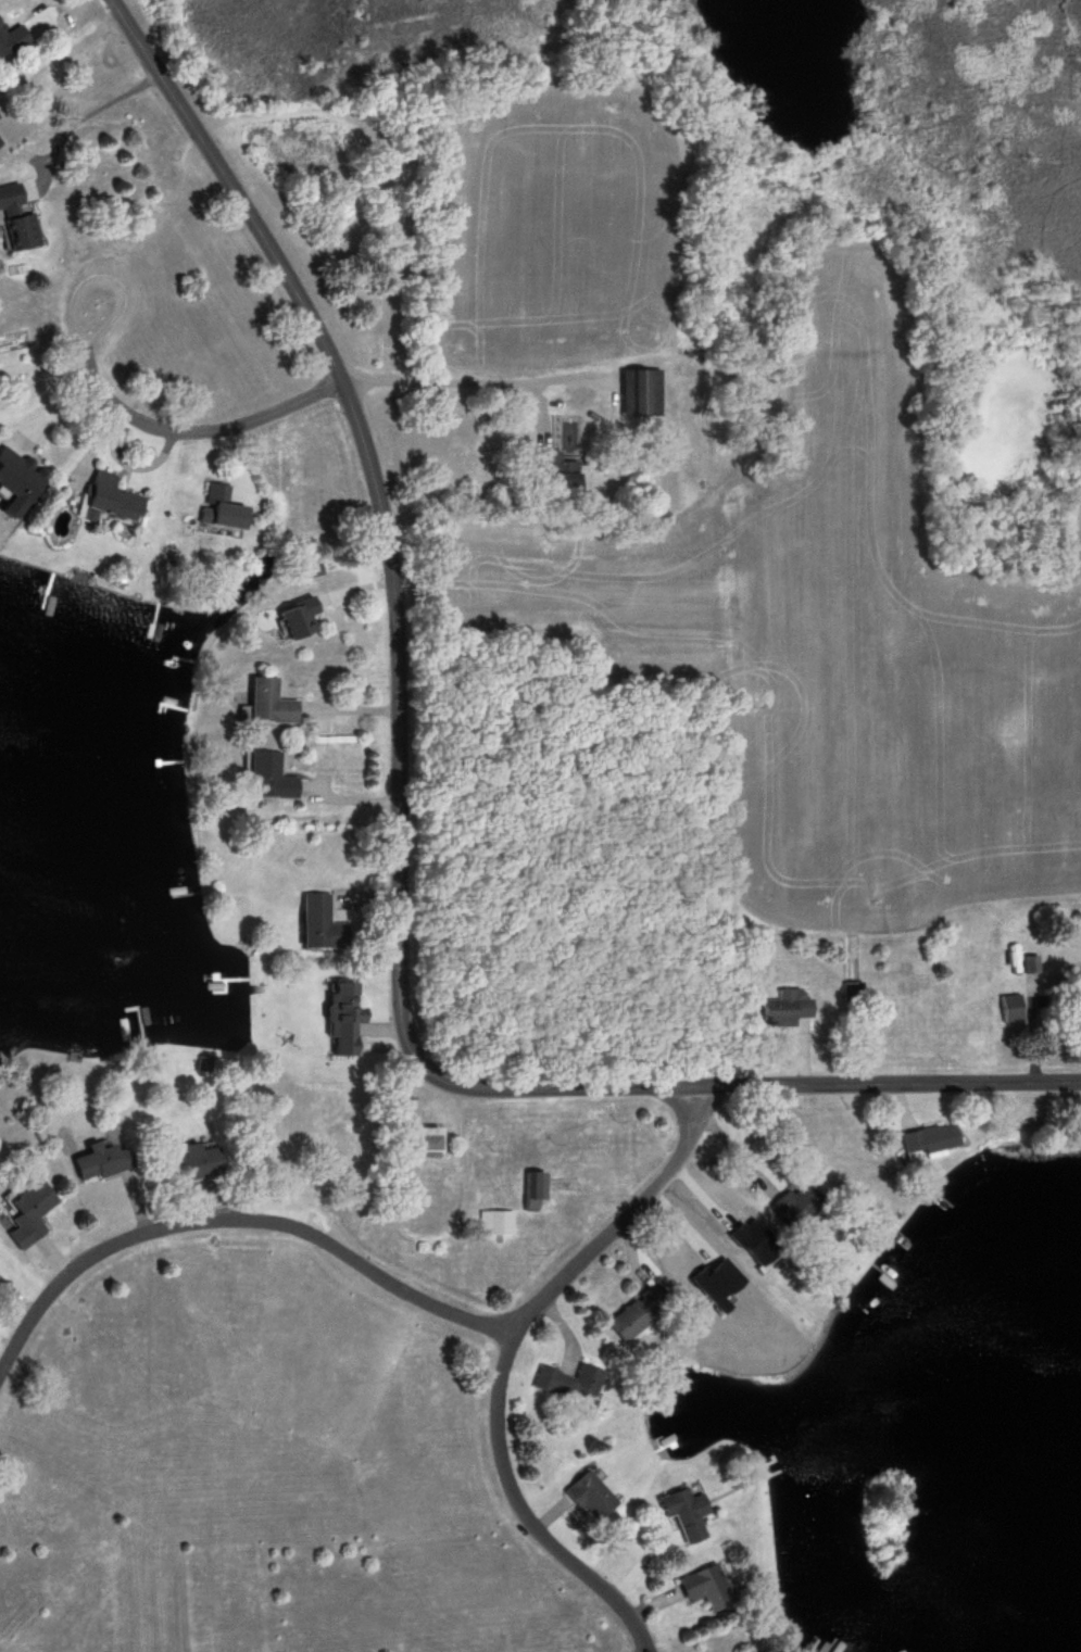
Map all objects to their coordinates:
building: (3, 45)
road: (81, 117)
building: (15, 220)
road: (63, 363)
road: (21, 366)
road: (22, 386)
road: (515, 392)
building: (638, 394)
road: (198, 429)
building: (553, 472)
building: (16, 481)
building: (103, 500)
building: (216, 509)
building: (294, 619)
building: (266, 704)
building: (265, 778)
road: (397, 832)
building: (317, 925)
building: (1028, 964)
building: (1077, 979)
building: (784, 1009)
building: (1008, 1009)
building: (339, 1019)
building: (926, 1140)
building: (416, 1143)
building: (98, 1161)
building: (193, 1163)
building: (529, 1191)
building: (792, 1205)
building: (25, 1212)
road: (231, 1218)
building: (492, 1224)
building: (633, 1312)
road: (503, 1359)
building: (565, 1384)
building: (587, 1496)
building: (681, 1514)
building: (701, 1588)

